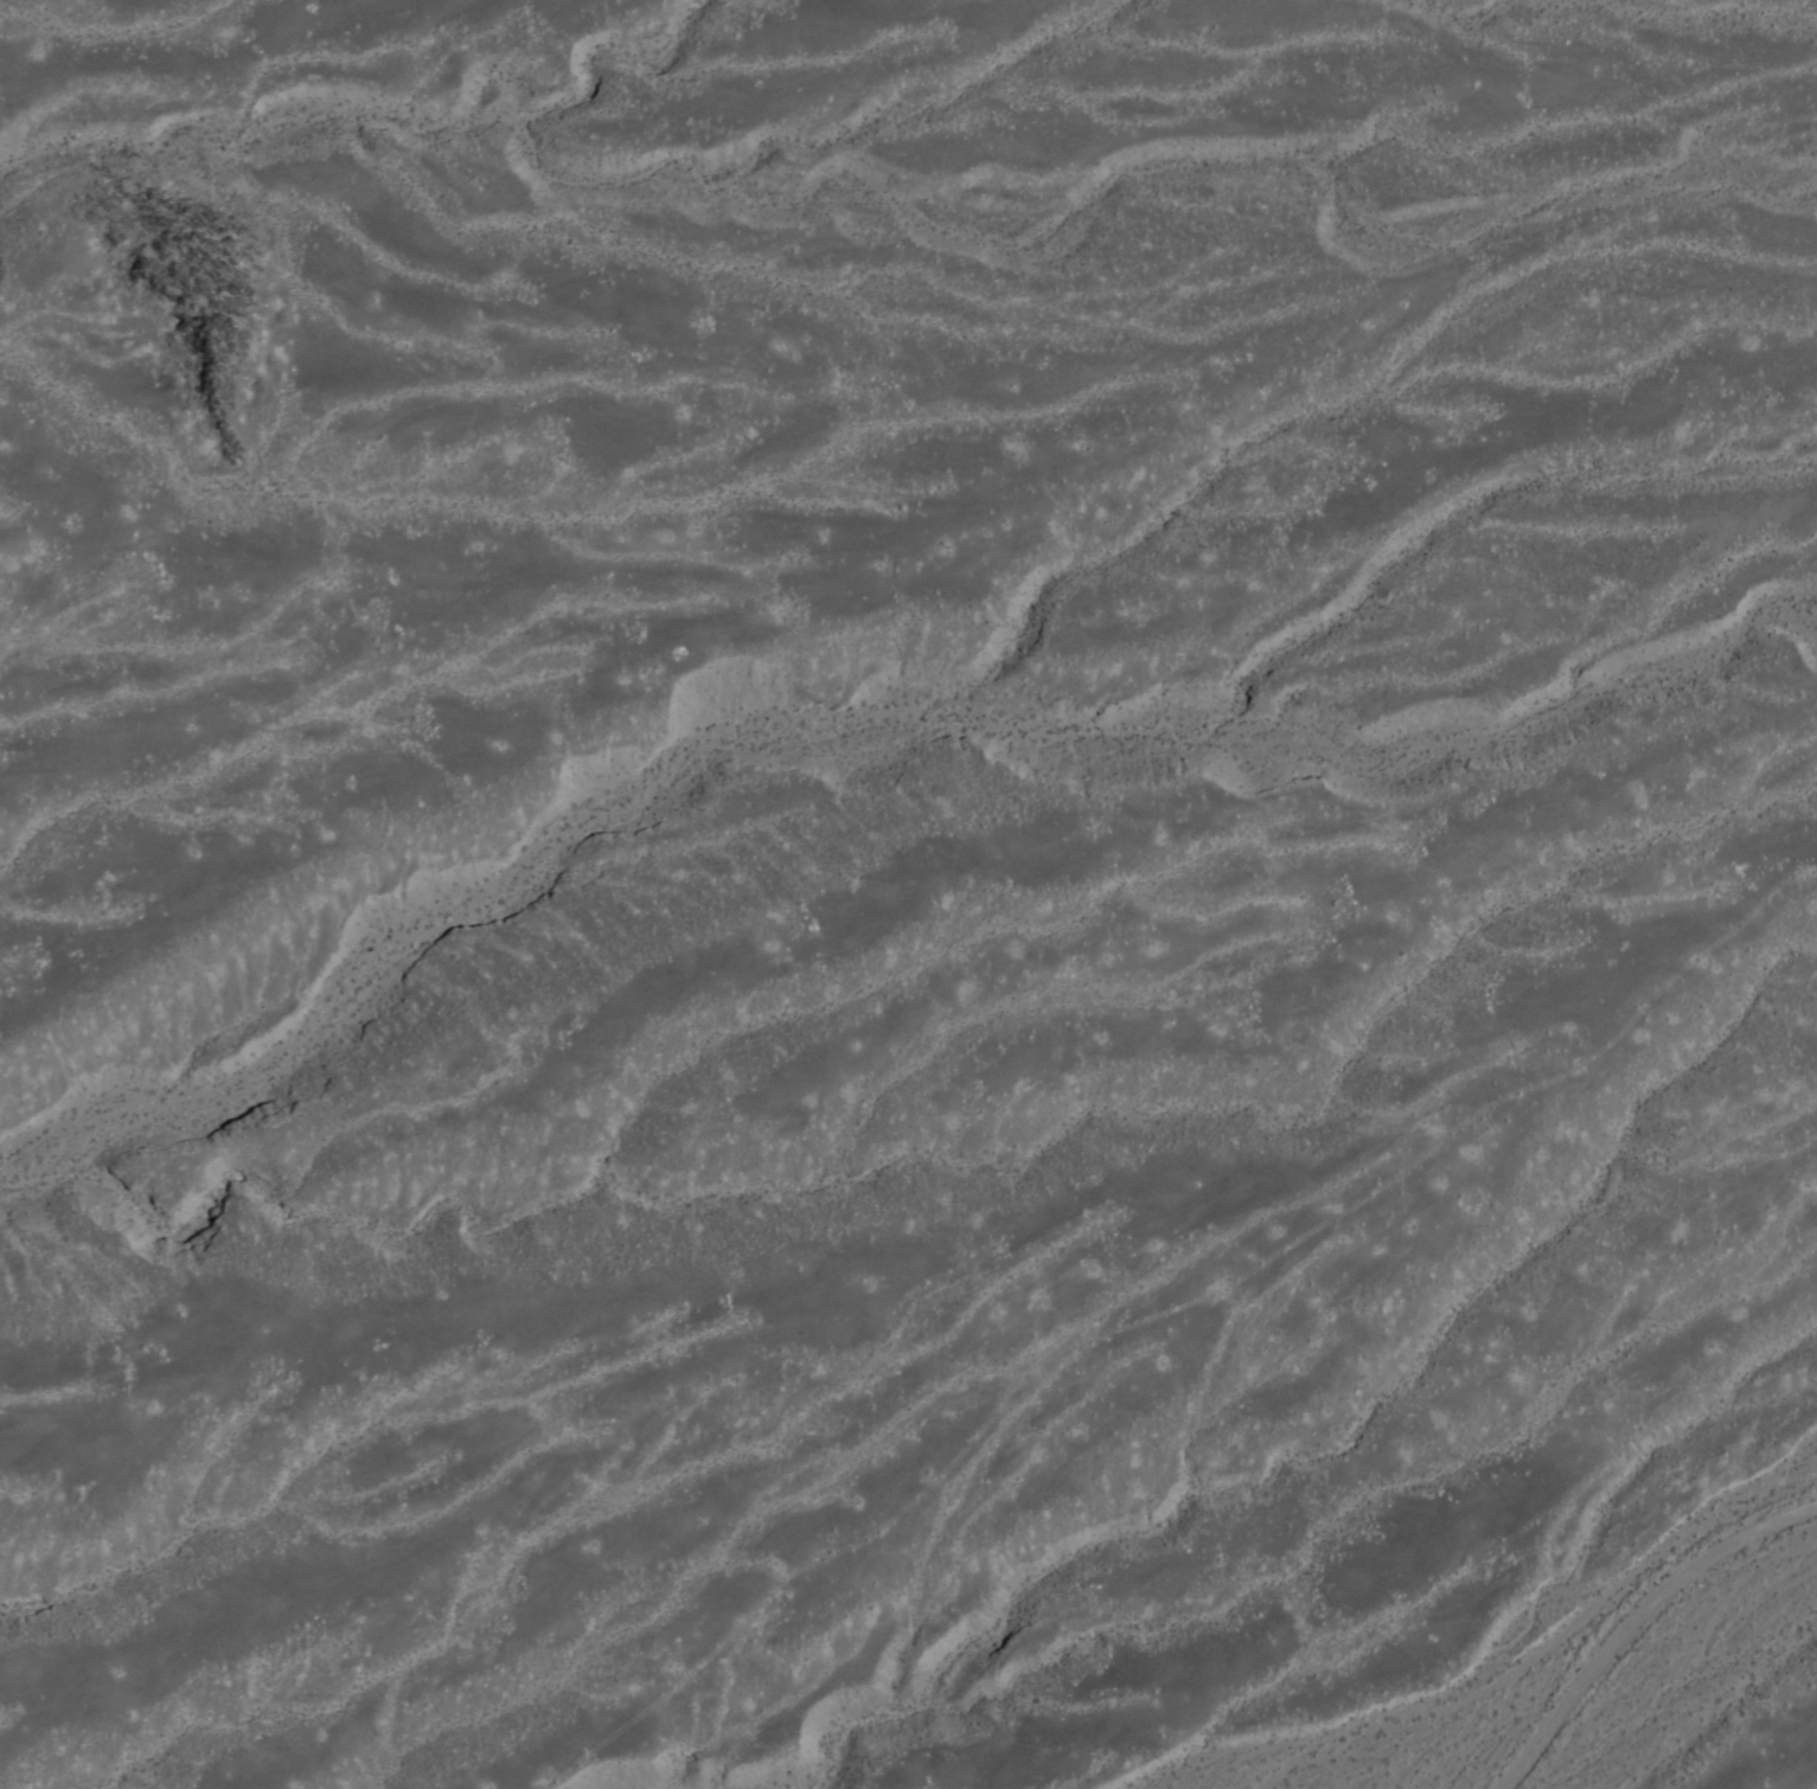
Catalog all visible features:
road: (1636, 1624)

